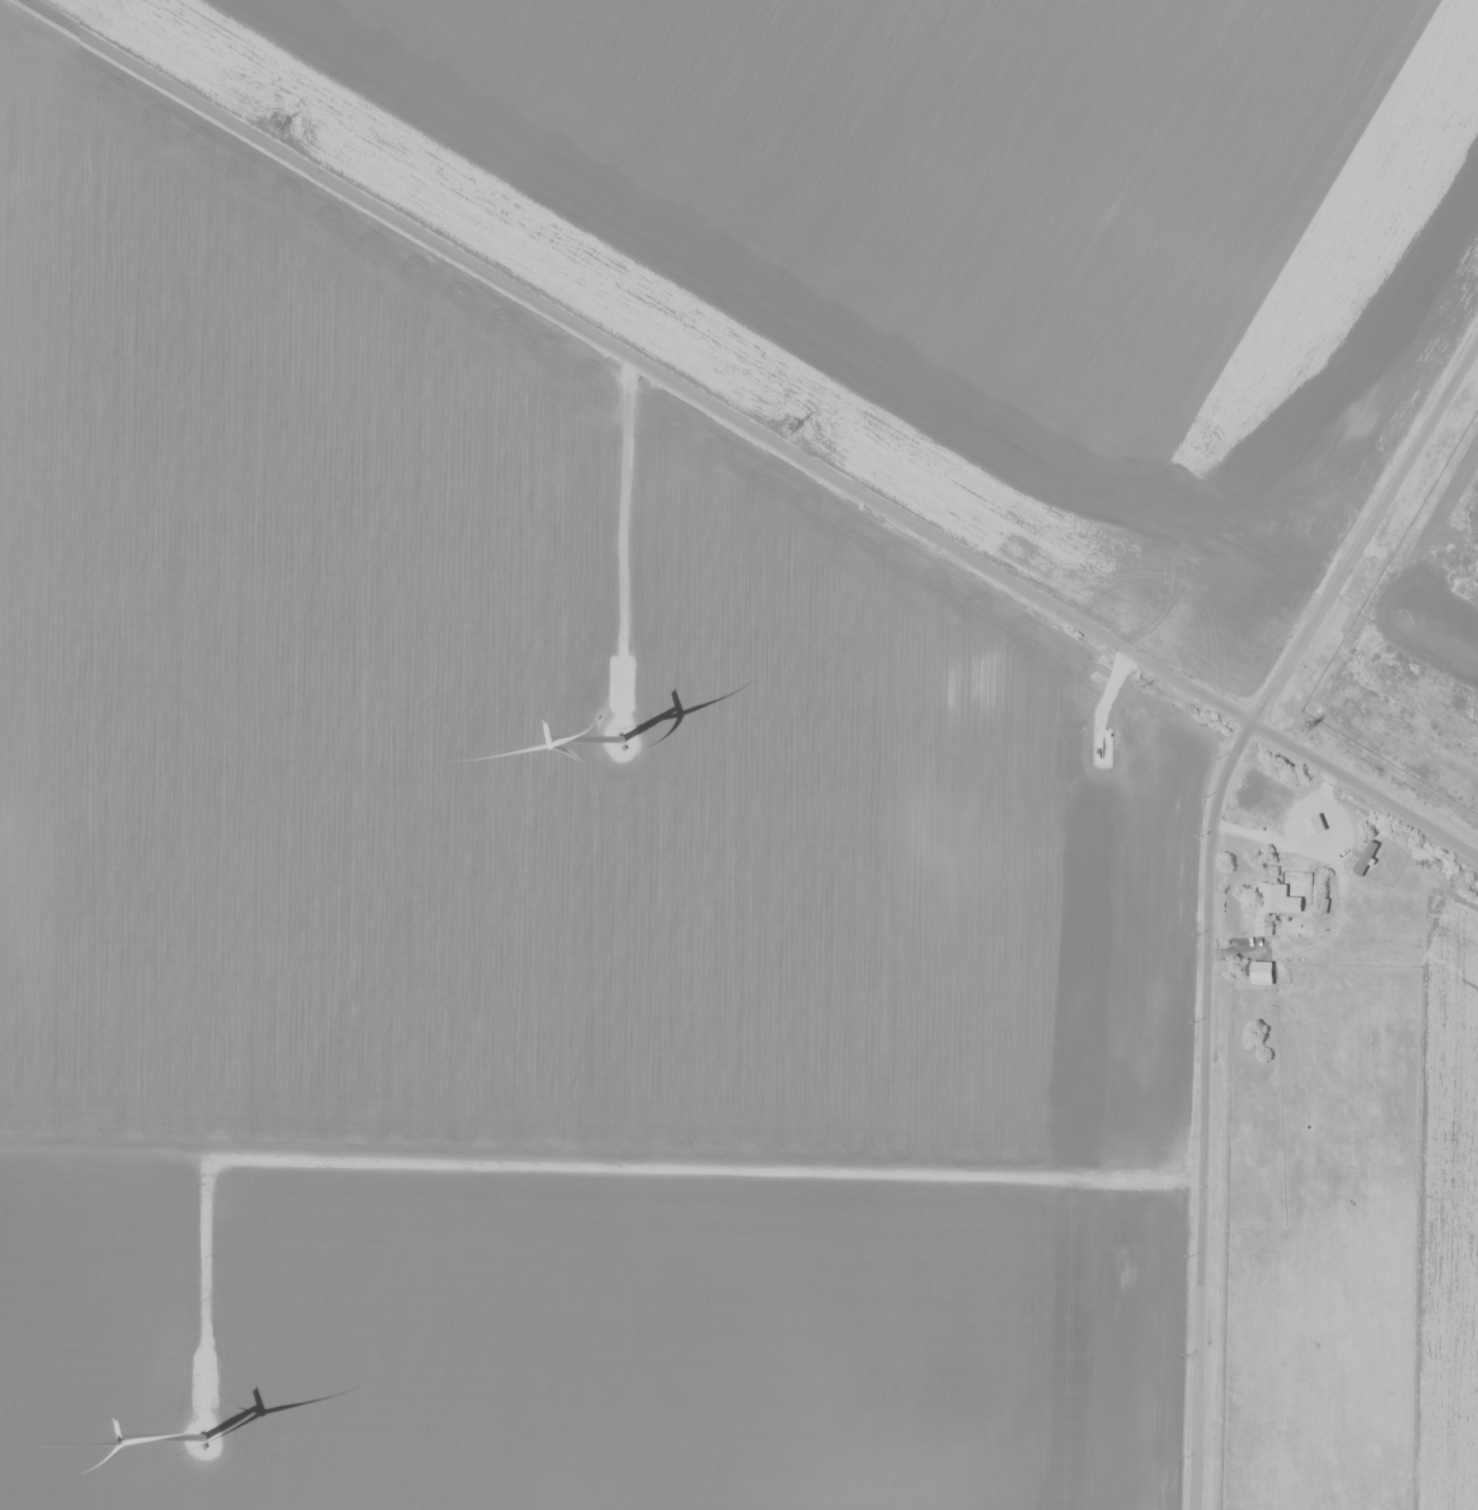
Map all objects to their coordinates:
power tower: (276, 124)
power tower: (791, 424)
road: (750, 425)
road: (625, 534)
power tower: (1297, 727)
wind turbine: (628, 731)
building: (1308, 825)
building: (1366, 859)
road: (1209, 887)
building: (1276, 907)
building: (1261, 972)
building: (1373, 1111)
road: (581, 1168)
wind turbine: (193, 1425)

